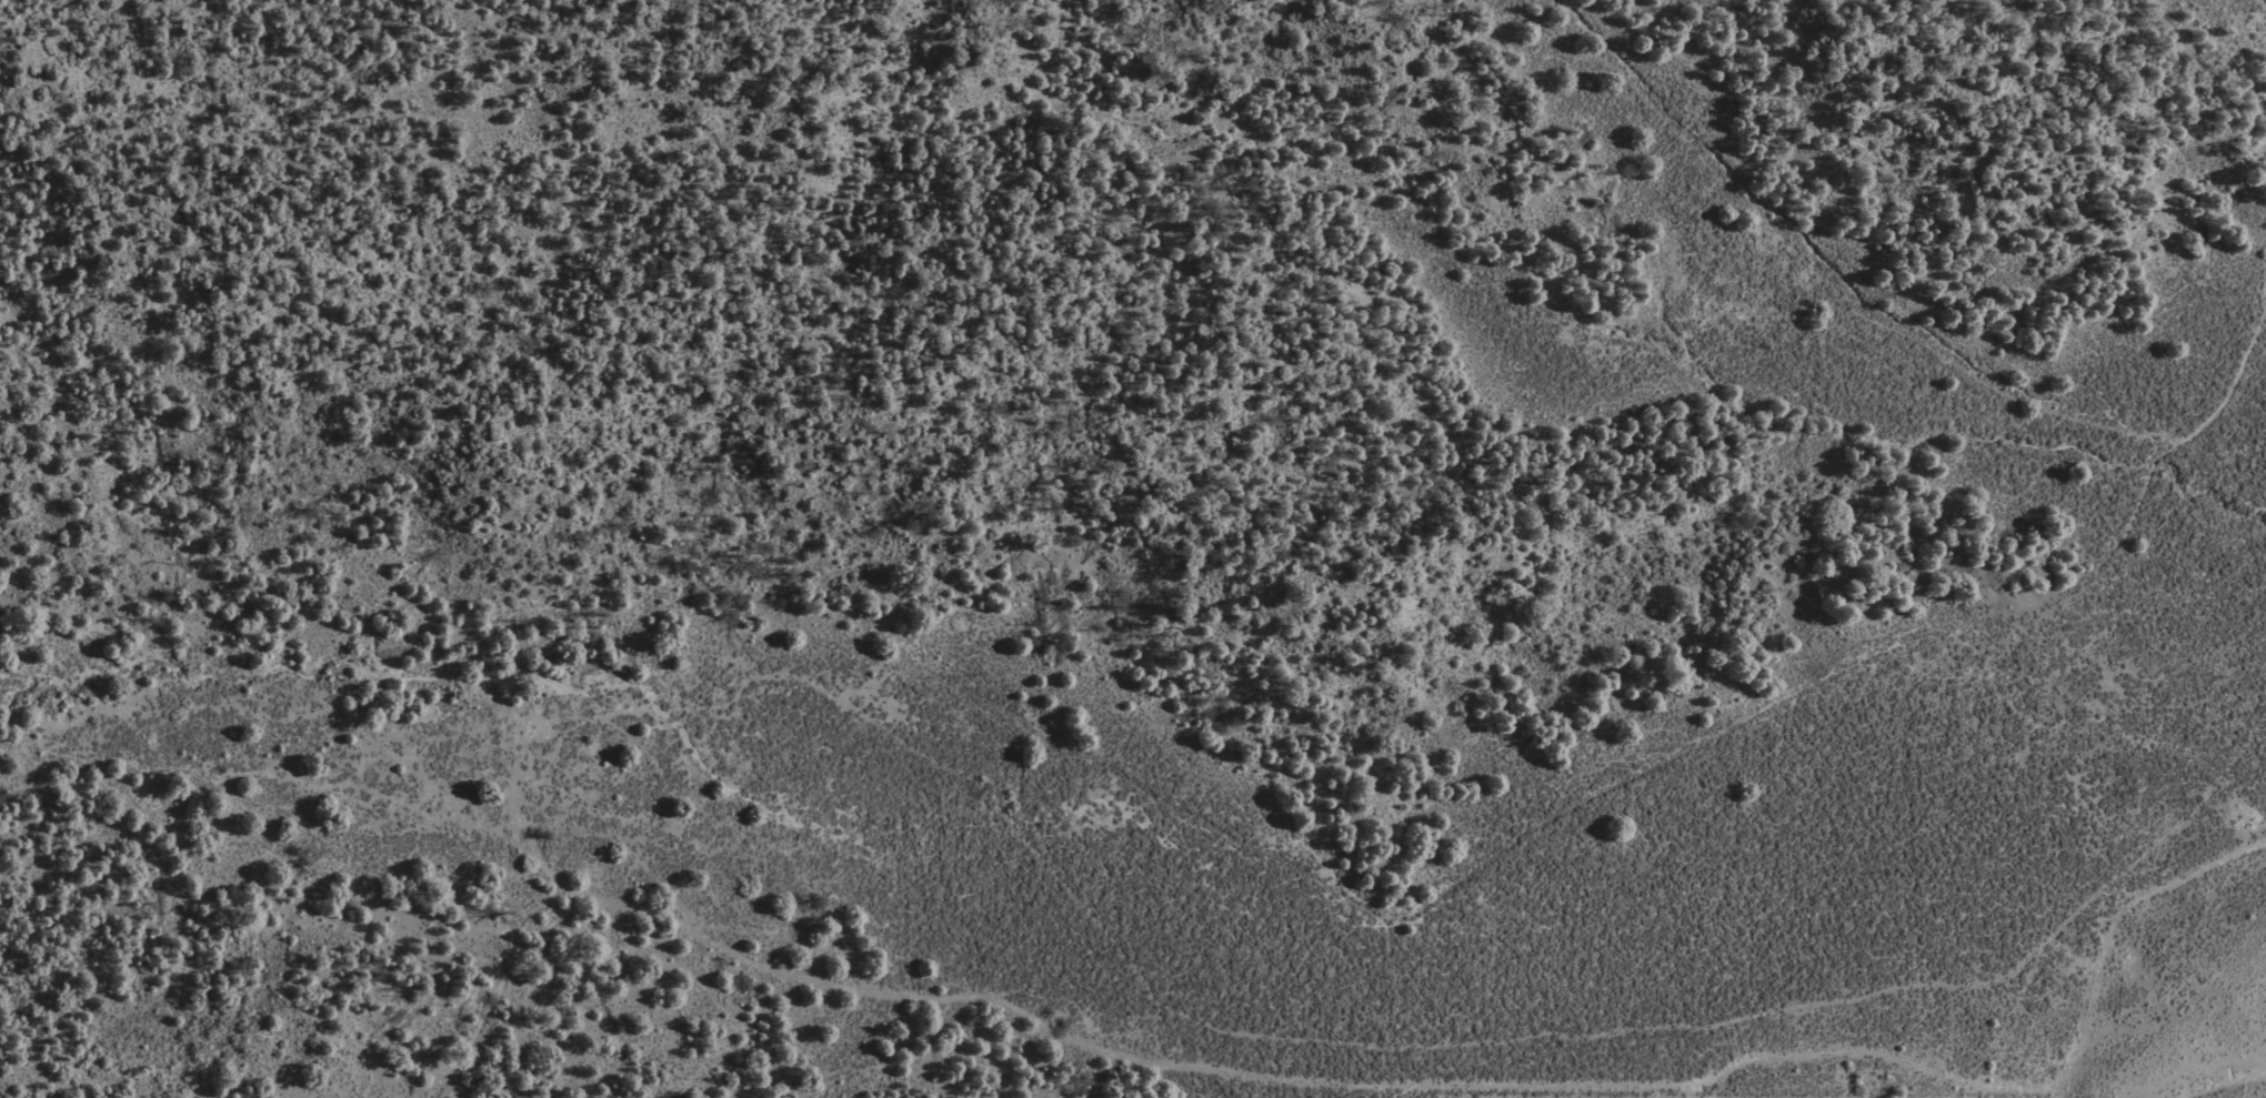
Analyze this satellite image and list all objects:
road: (2264, 1)
road: (2234, 379)

